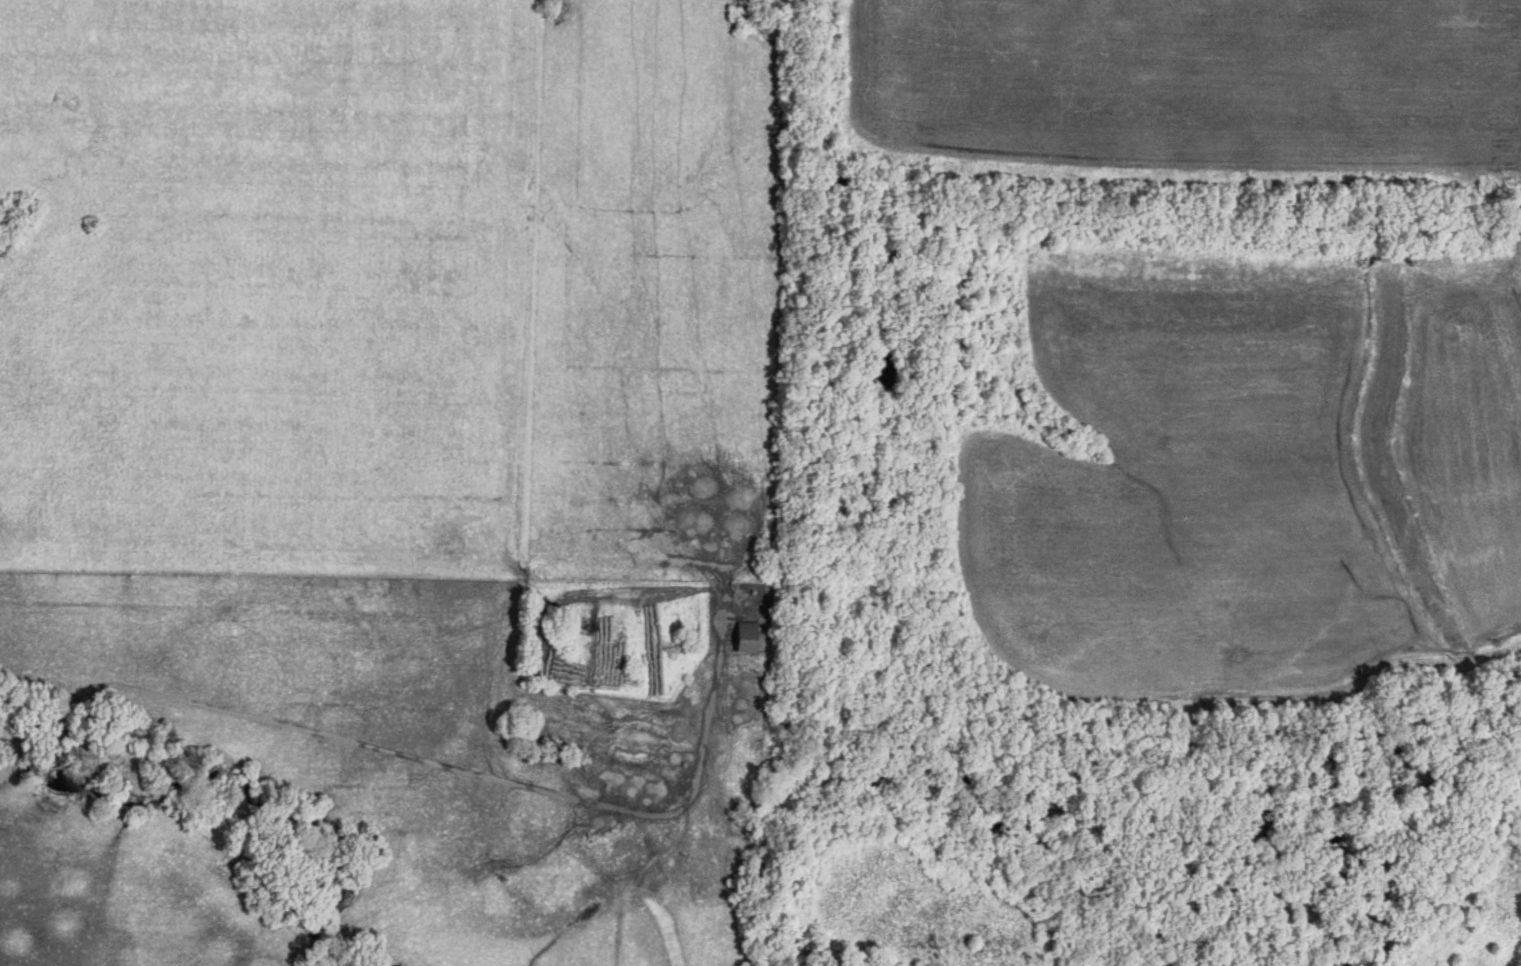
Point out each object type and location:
building: (744, 637)

